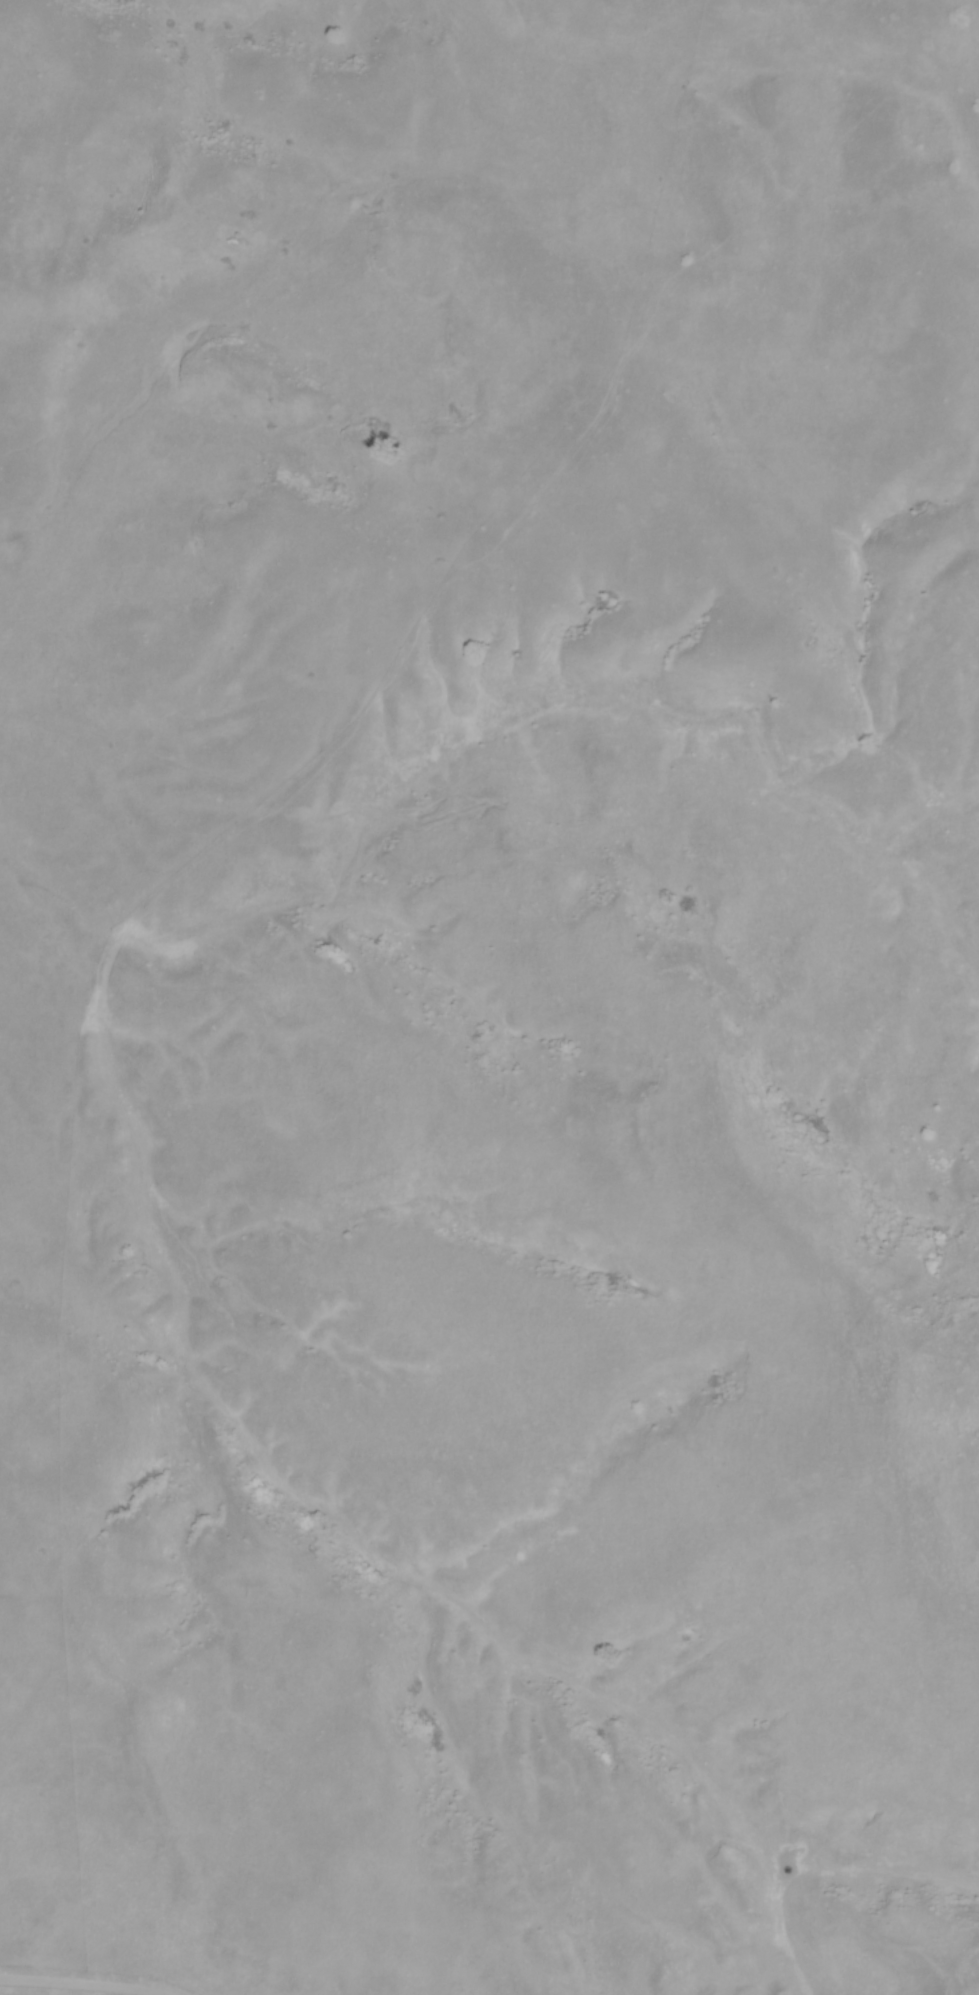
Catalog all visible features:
road: (81, 1984)

